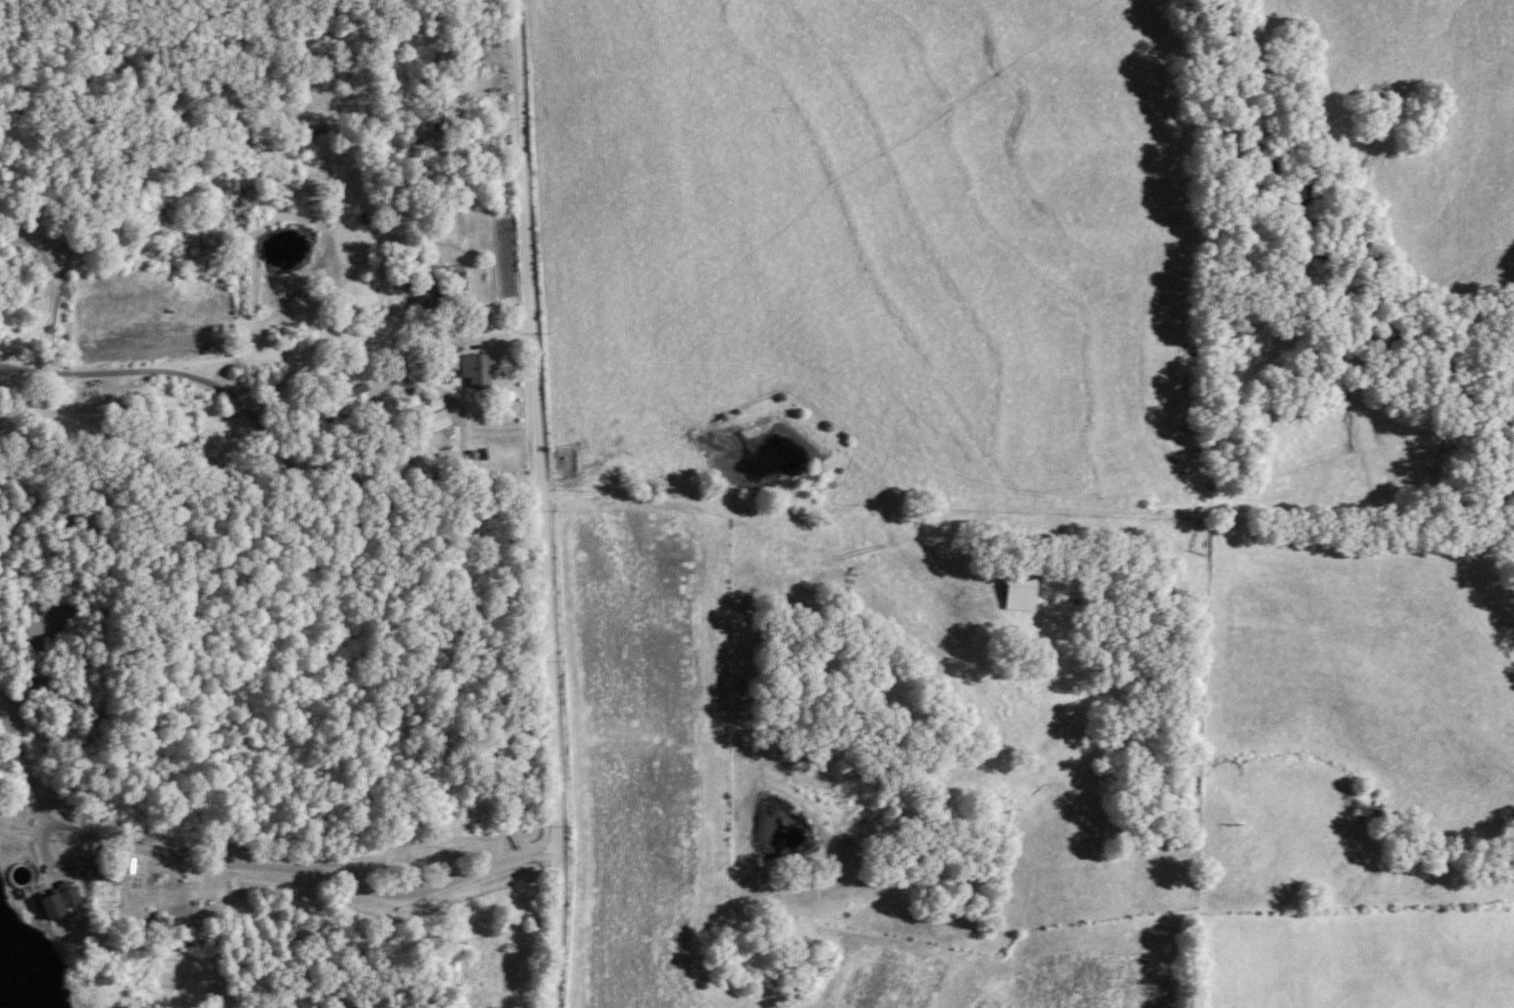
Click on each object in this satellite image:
building: (472, 56)
building: (422, 139)
building: (474, 371)
road: (271, 388)
road: (452, 404)
building: (433, 415)
road: (370, 473)
road: (540, 504)
building: (1019, 594)
road: (247, 860)
building: (59, 899)

